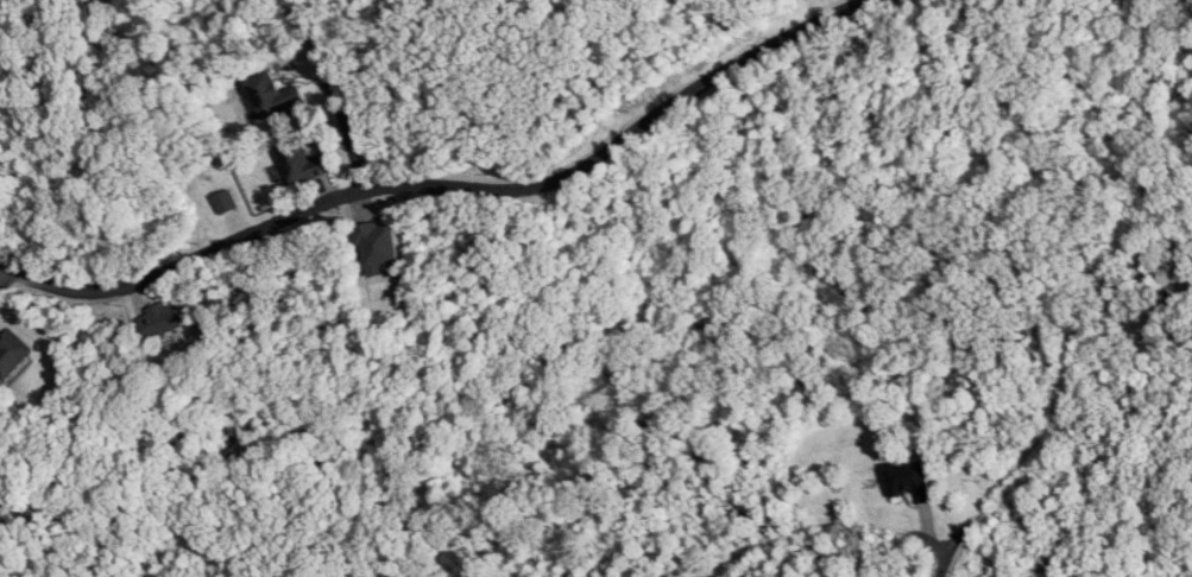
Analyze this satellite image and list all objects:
road: (333, 90)
building: (272, 94)
building: (299, 161)
road: (448, 185)
building: (223, 201)
building: (376, 245)
road: (5, 275)
building: (160, 319)
building: (12, 353)
building: (908, 480)
road: (821, 524)
road: (945, 563)
road: (177, 573)

